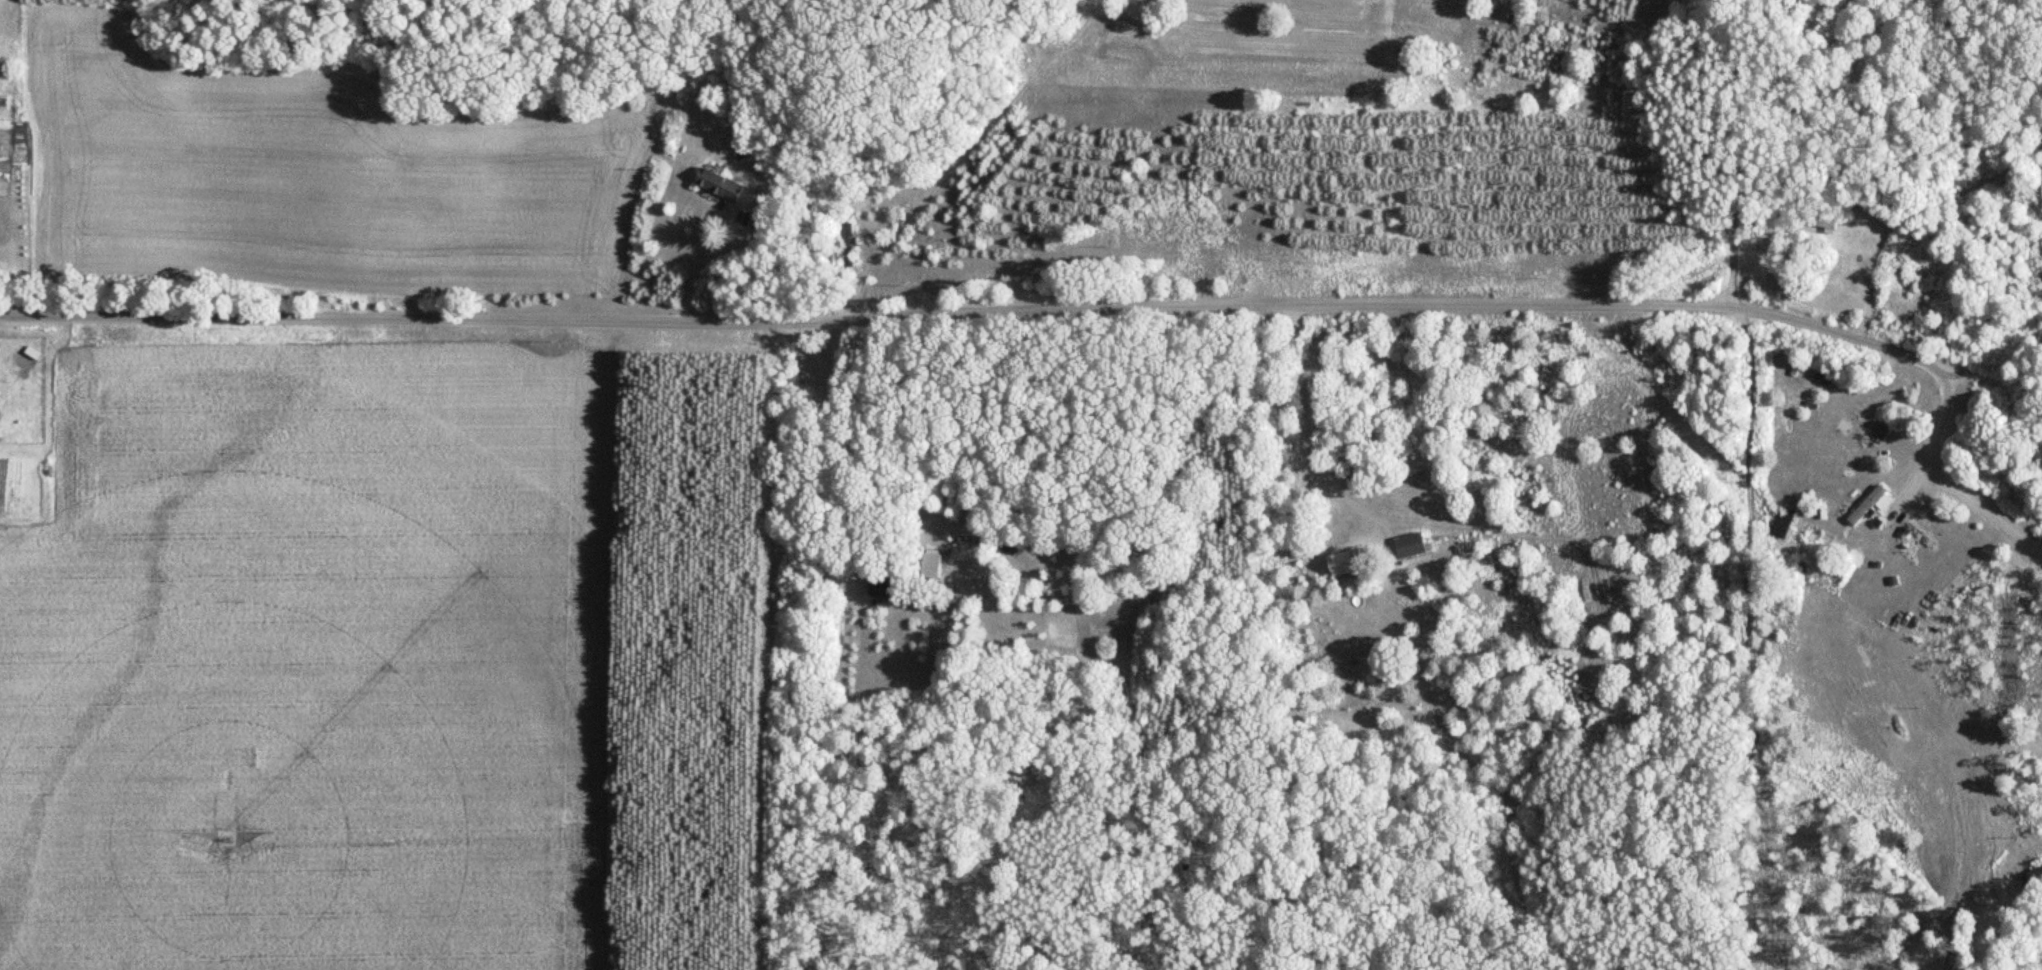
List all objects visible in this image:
road: (1736, 152)
building: (717, 185)
road: (726, 237)
building: (846, 244)
building: (1878, 246)
road: (863, 316)
road: (1835, 330)
road: (1987, 376)
road: (1938, 419)
road: (1303, 438)
road: (836, 470)
road: (1905, 488)
building: (1867, 504)
road: (1985, 509)
building: (1781, 522)
building: (1409, 545)
building: (930, 562)
building: (1346, 562)
building: (883, 584)
road: (1750, 633)

